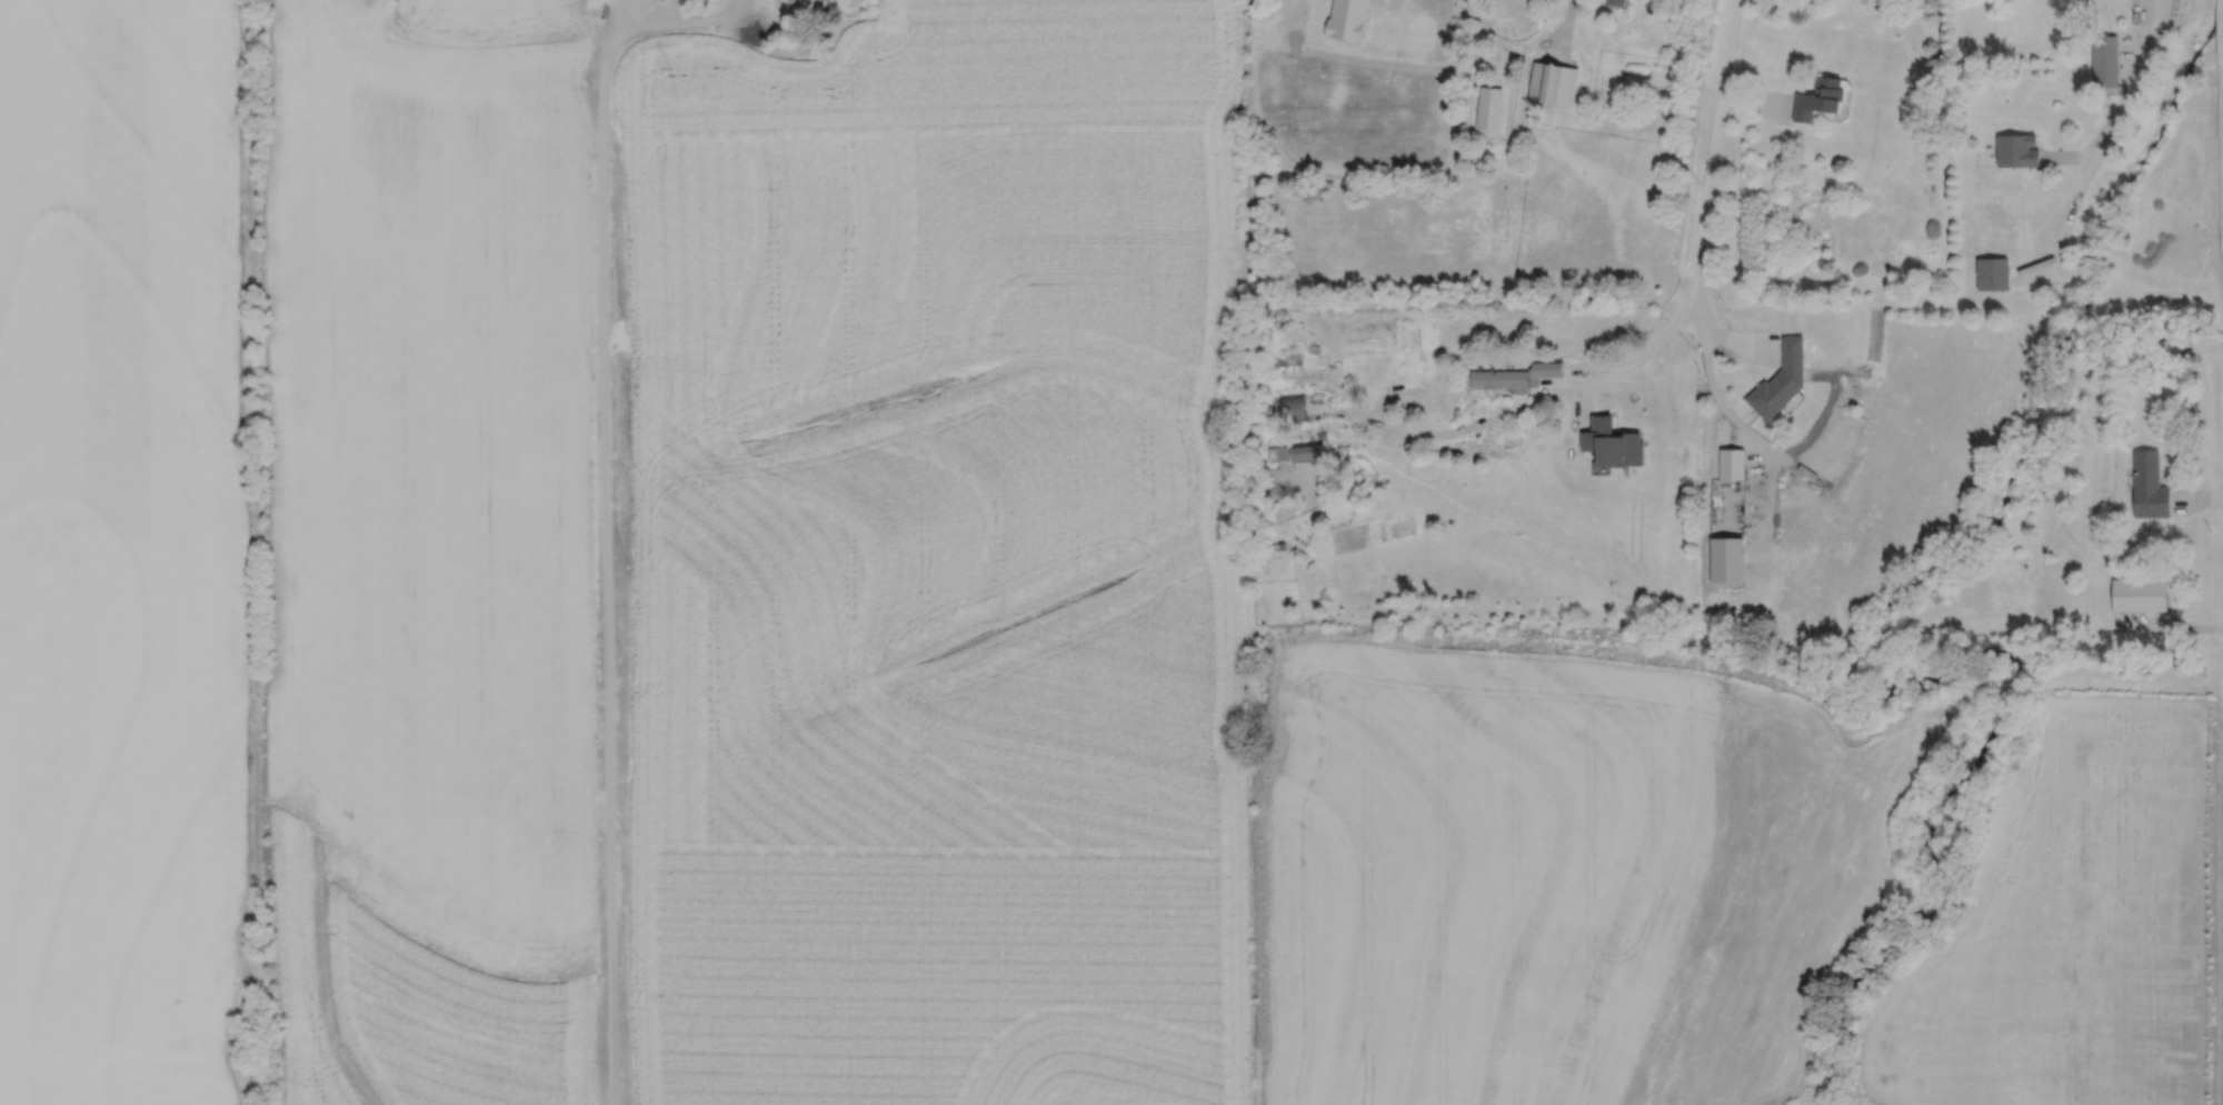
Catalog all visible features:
building: (1615, 1)
road: (1392, 4)
road: (628, 14)
building: (1346, 19)
road: (1566, 29)
building: (2104, 60)
building: (1553, 82)
building: (1818, 98)
road: (1755, 101)
building: (1489, 108)
road: (2092, 149)
building: (2015, 150)
road: (1715, 153)
road: (2067, 155)
building: (1992, 273)
road: (1729, 337)
road: (2197, 347)
building: (2149, 349)
road: (1641, 354)
building: (1515, 375)
building: (1782, 380)
building: (1293, 406)
building: (1455, 411)
road: (1446, 430)
road: (1760, 440)
building: (1613, 445)
building: (1298, 451)
building: (1731, 462)
building: (2147, 482)
road: (2197, 497)
road: (604, 500)
building: (1280, 544)
building: (2137, 593)
building: (1287, 599)
crop: (780, 607)
road: (2167, 623)
road: (2071, 844)

